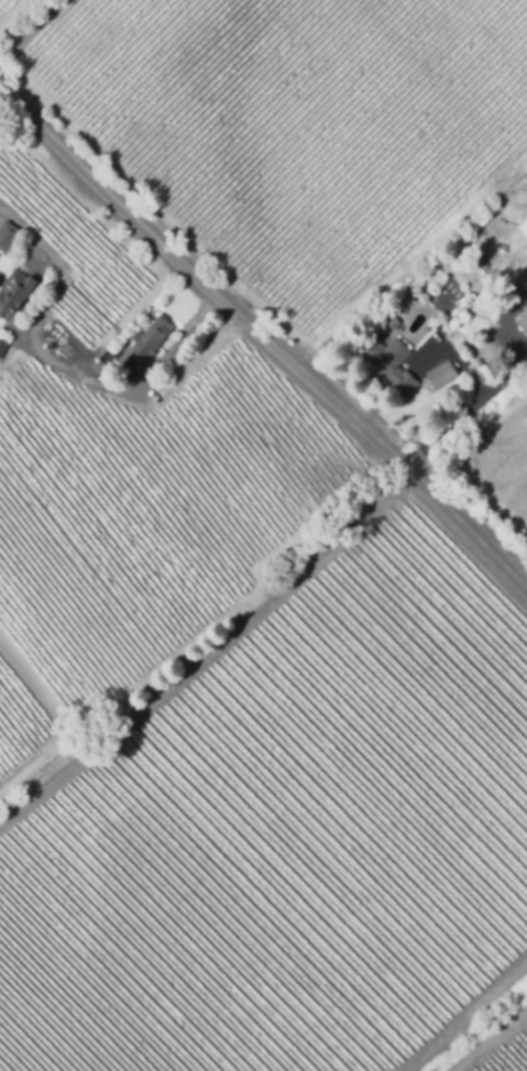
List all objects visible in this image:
road: (29, 29)
road: (9, 113)
building: (477, 222)
building: (524, 226)
building: (8, 236)
building: (14, 291)
building: (393, 321)
building: (523, 321)
building: (421, 334)
building: (152, 338)
road: (264, 339)
building: (3, 345)
building: (487, 358)
building: (389, 362)
road: (63, 367)
building: (441, 374)
road: (466, 420)

